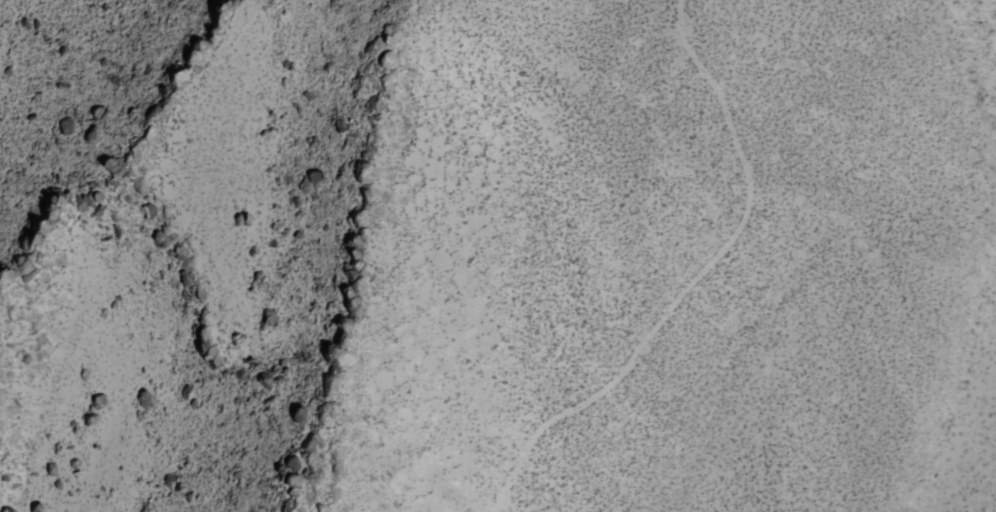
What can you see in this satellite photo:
road: (676, 277)

